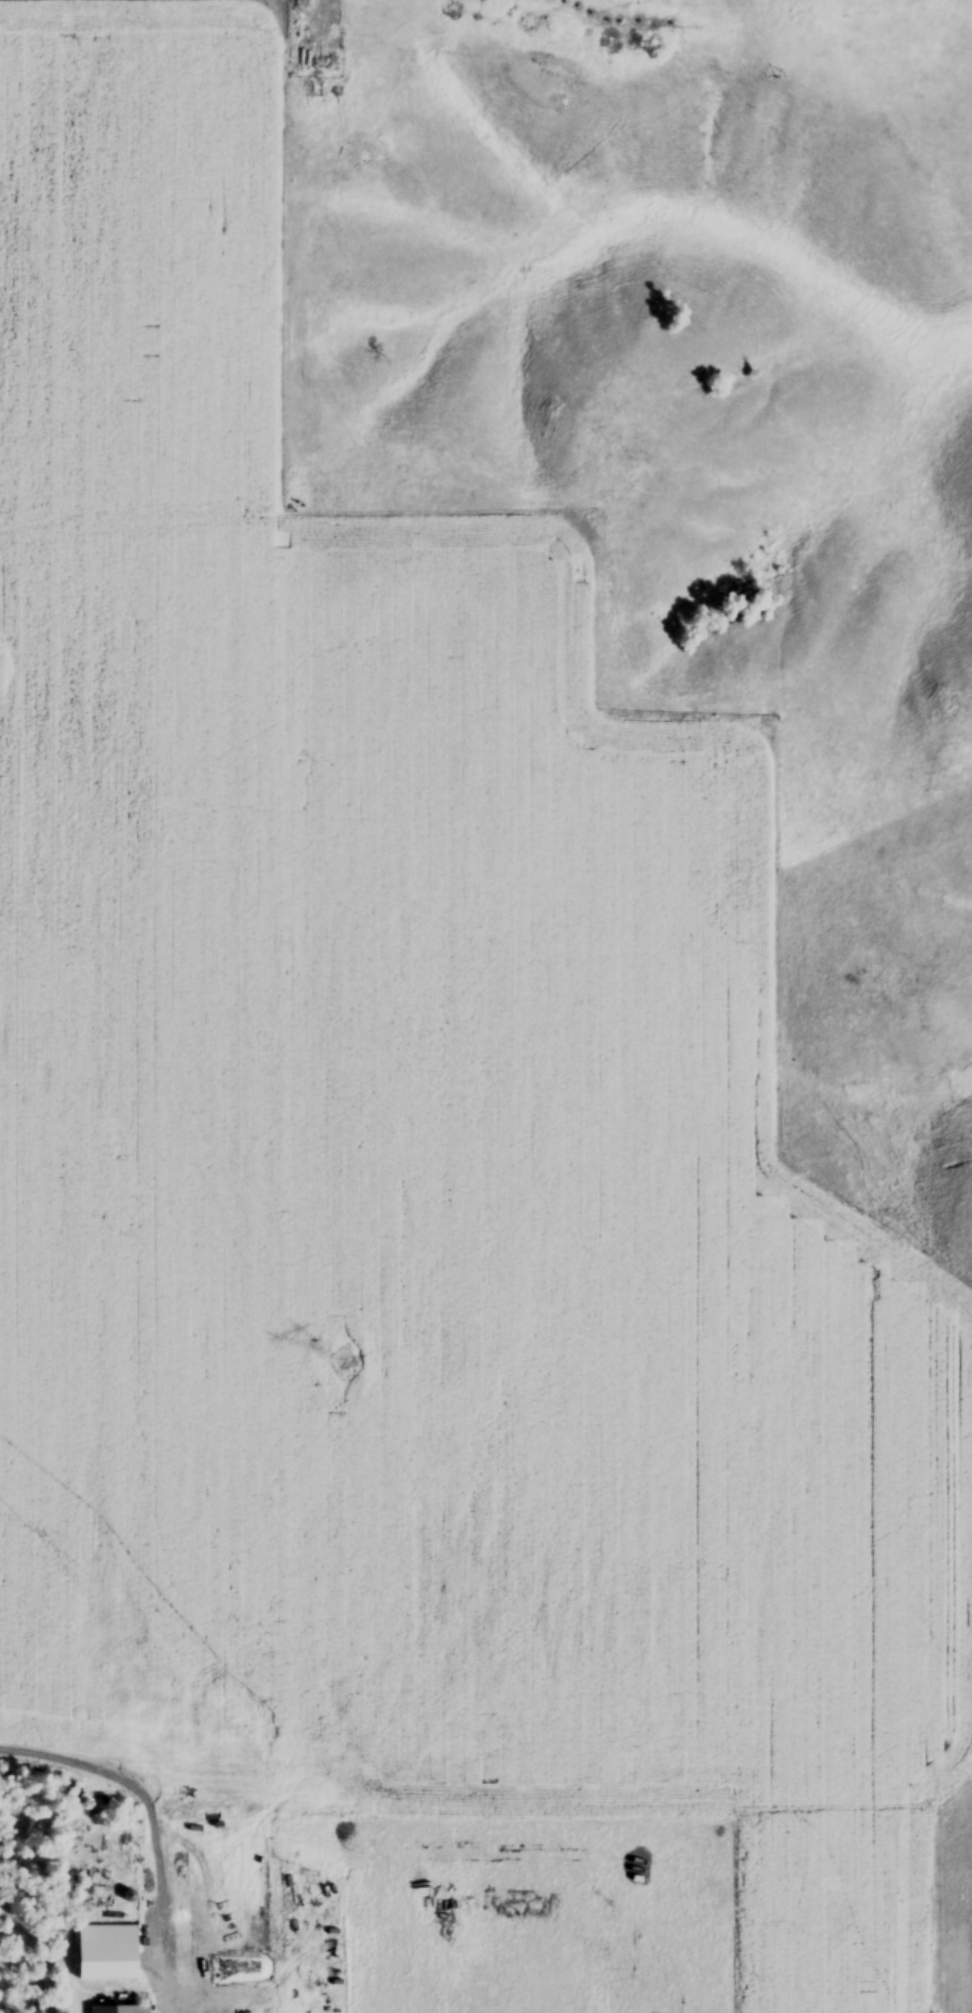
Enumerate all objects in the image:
power tower: (345, 1363)
road: (151, 1830)
building: (111, 1955)
building: (248, 1972)
building: (120, 2010)

